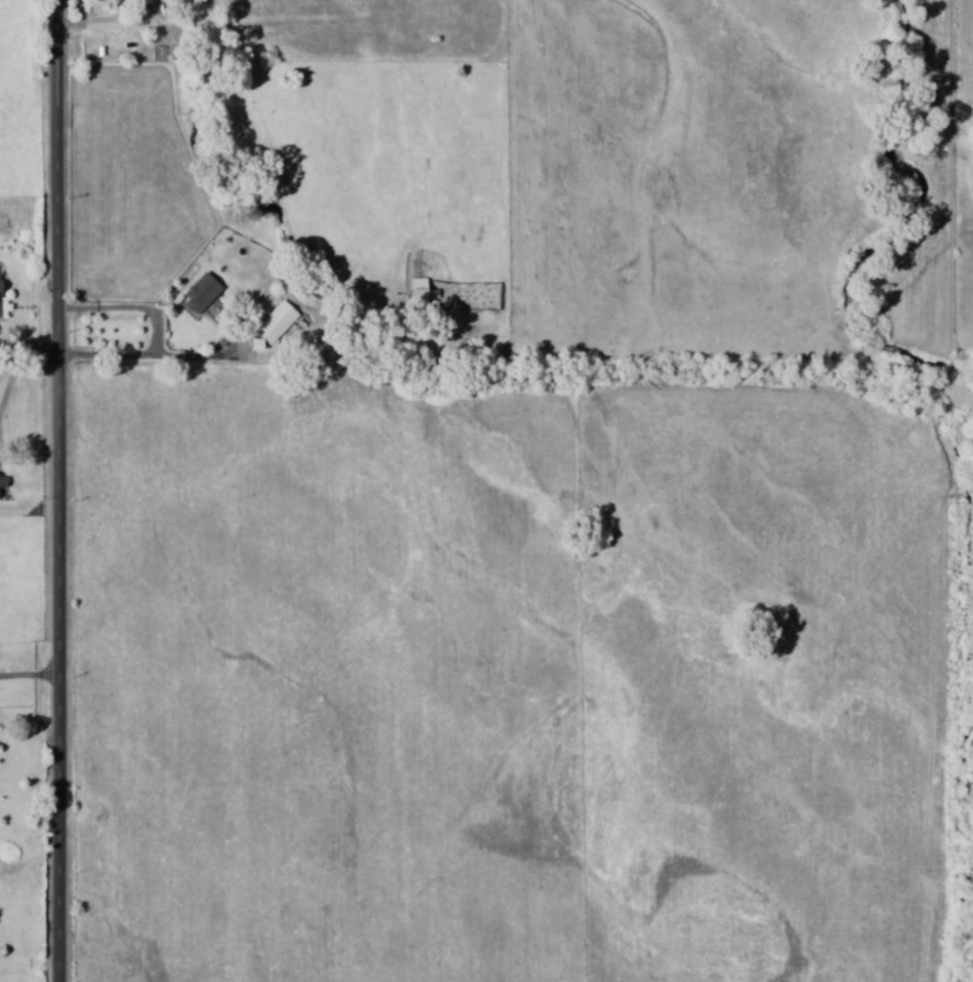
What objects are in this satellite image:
building: (1, 281)
building: (203, 293)
building: (1, 309)
building: (275, 325)
road: (128, 354)
road: (14, 386)
building: (4, 482)
road: (63, 490)

